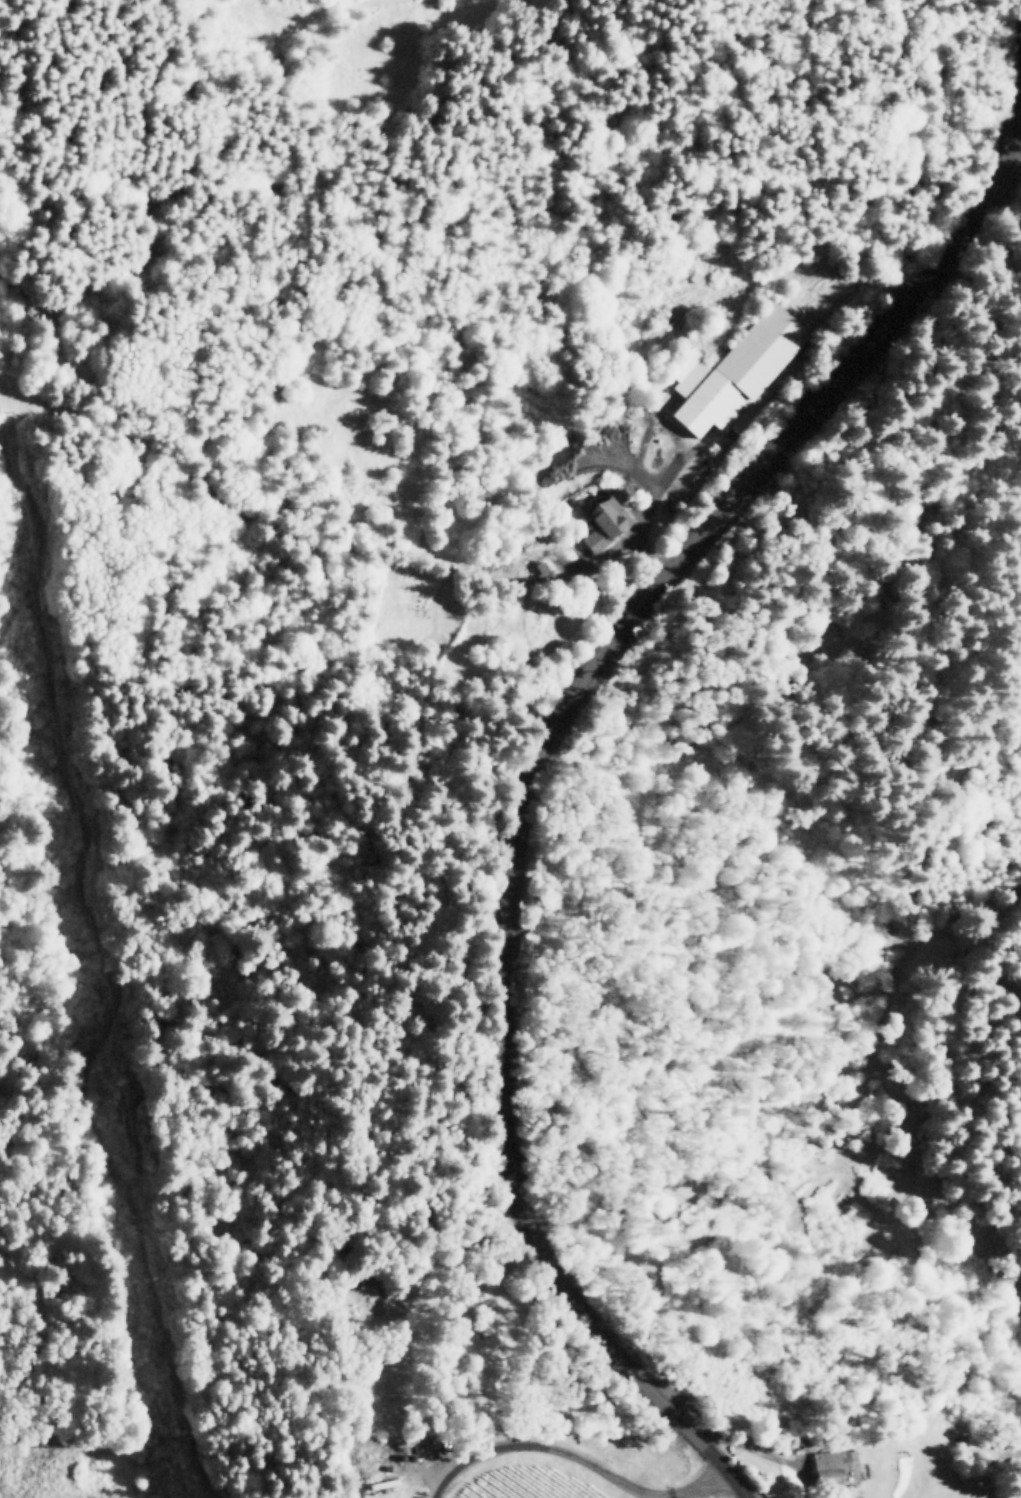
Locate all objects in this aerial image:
building: (733, 372)
building: (602, 522)
road: (540, 746)
road: (581, 1458)

